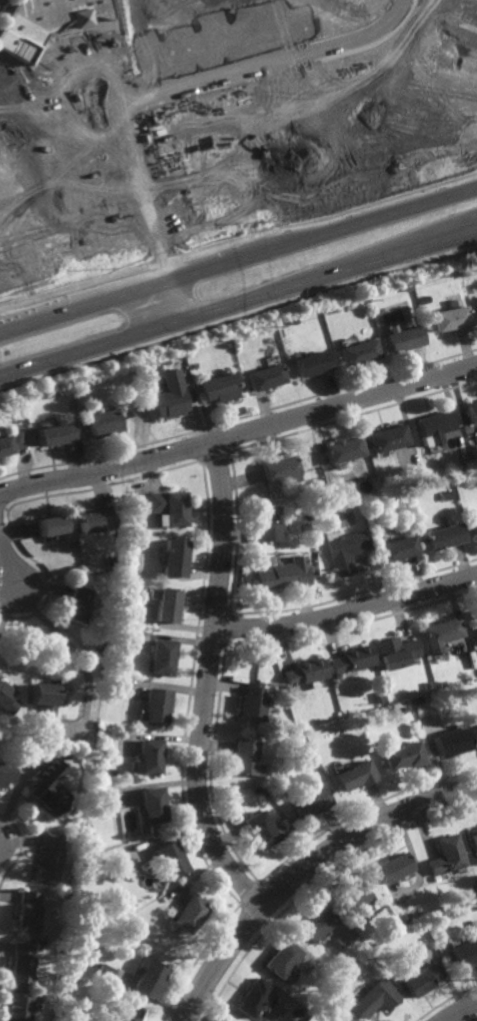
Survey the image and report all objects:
road: (203, 5)
road: (146, 28)
building: (38, 29)
road: (213, 36)
road: (156, 56)
road: (205, 77)
road: (240, 89)
road: (214, 145)
road: (338, 160)
road: (97, 227)
road: (62, 237)
road: (239, 262)
building: (409, 286)
road: (238, 304)
building: (452, 318)
building: (406, 339)
building: (360, 352)
building: (313, 364)
building: (267, 377)
building: (221, 388)
building: (171, 396)
building: (85, 407)
building: (472, 412)
building: (105, 423)
building: (434, 426)
building: (56, 432)
road: (239, 435)
building: (389, 439)
building: (10, 443)
building: (344, 450)
building: (281, 469)
building: (447, 494)
building: (323, 499)
building: (169, 507)
building: (96, 518)
building: (267, 521)
building: (54, 524)
building: (474, 525)
building: (445, 536)
building: (74, 542)
building: (397, 548)
building: (345, 551)
building: (172, 555)
road: (11, 556)
building: (113, 559)
building: (281, 575)
building: (126, 586)
building: (81, 601)
building: (165, 603)
road: (347, 613)
building: (475, 617)
building: (476, 631)
building: (440, 633)
road: (73, 652)
building: (395, 652)
building: (159, 655)
building: (350, 659)
building: (301, 674)
road: (206, 683)
building: (437, 684)
building: (427, 686)
building: (8, 696)
building: (378, 697)
building: (250, 701)
building: (418, 701)
building: (46, 704)
building: (153, 705)
building: (403, 709)
building: (286, 727)
building: (476, 727)
building: (102, 731)
building: (452, 740)
building: (402, 755)
building: (149, 756)
building: (244, 758)
building: (314, 765)
building: (6, 772)
building: (354, 775)
building: (49, 788)
building: (309, 803)
building: (152, 804)
building: (281, 823)
building: (257, 829)
building: (474, 837)
building: (448, 855)
building: (51, 858)
building: (168, 862)
building: (395, 867)
road: (304, 871)
building: (472, 890)
building: (351, 895)
building: (67, 897)
building: (29, 912)
building: (189, 914)
building: (405, 919)
building: (100, 922)
building: (316, 924)
building: (44, 943)
building: (64, 949)
building: (465, 954)
building: (280, 959)
building: (23, 963)
building: (105, 973)
building: (150, 978)
building: (422, 979)
building: (323, 983)
building: (251, 998)
building: (376, 998)
building: (21, 1008)
road: (460, 1010)
building: (128, 1012)

